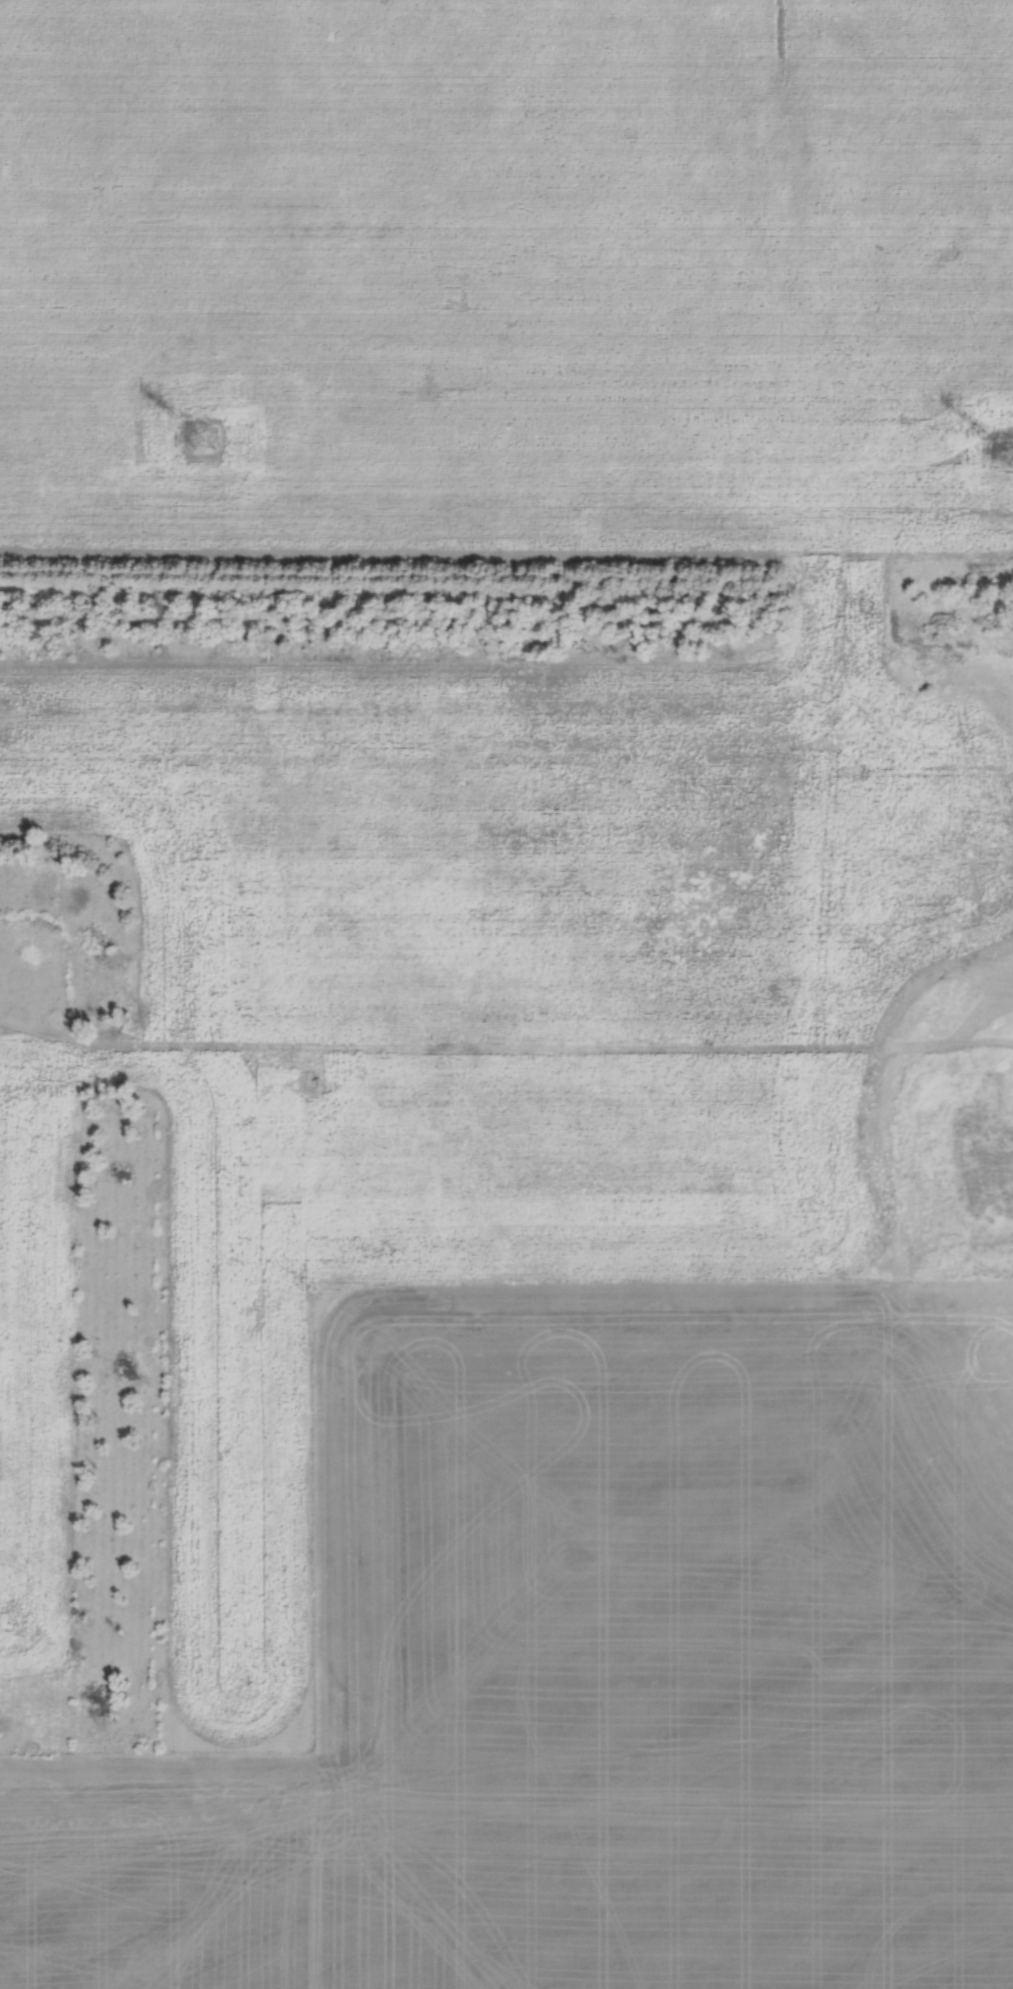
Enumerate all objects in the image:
power tower: (199, 436)
power tower: (1006, 451)

